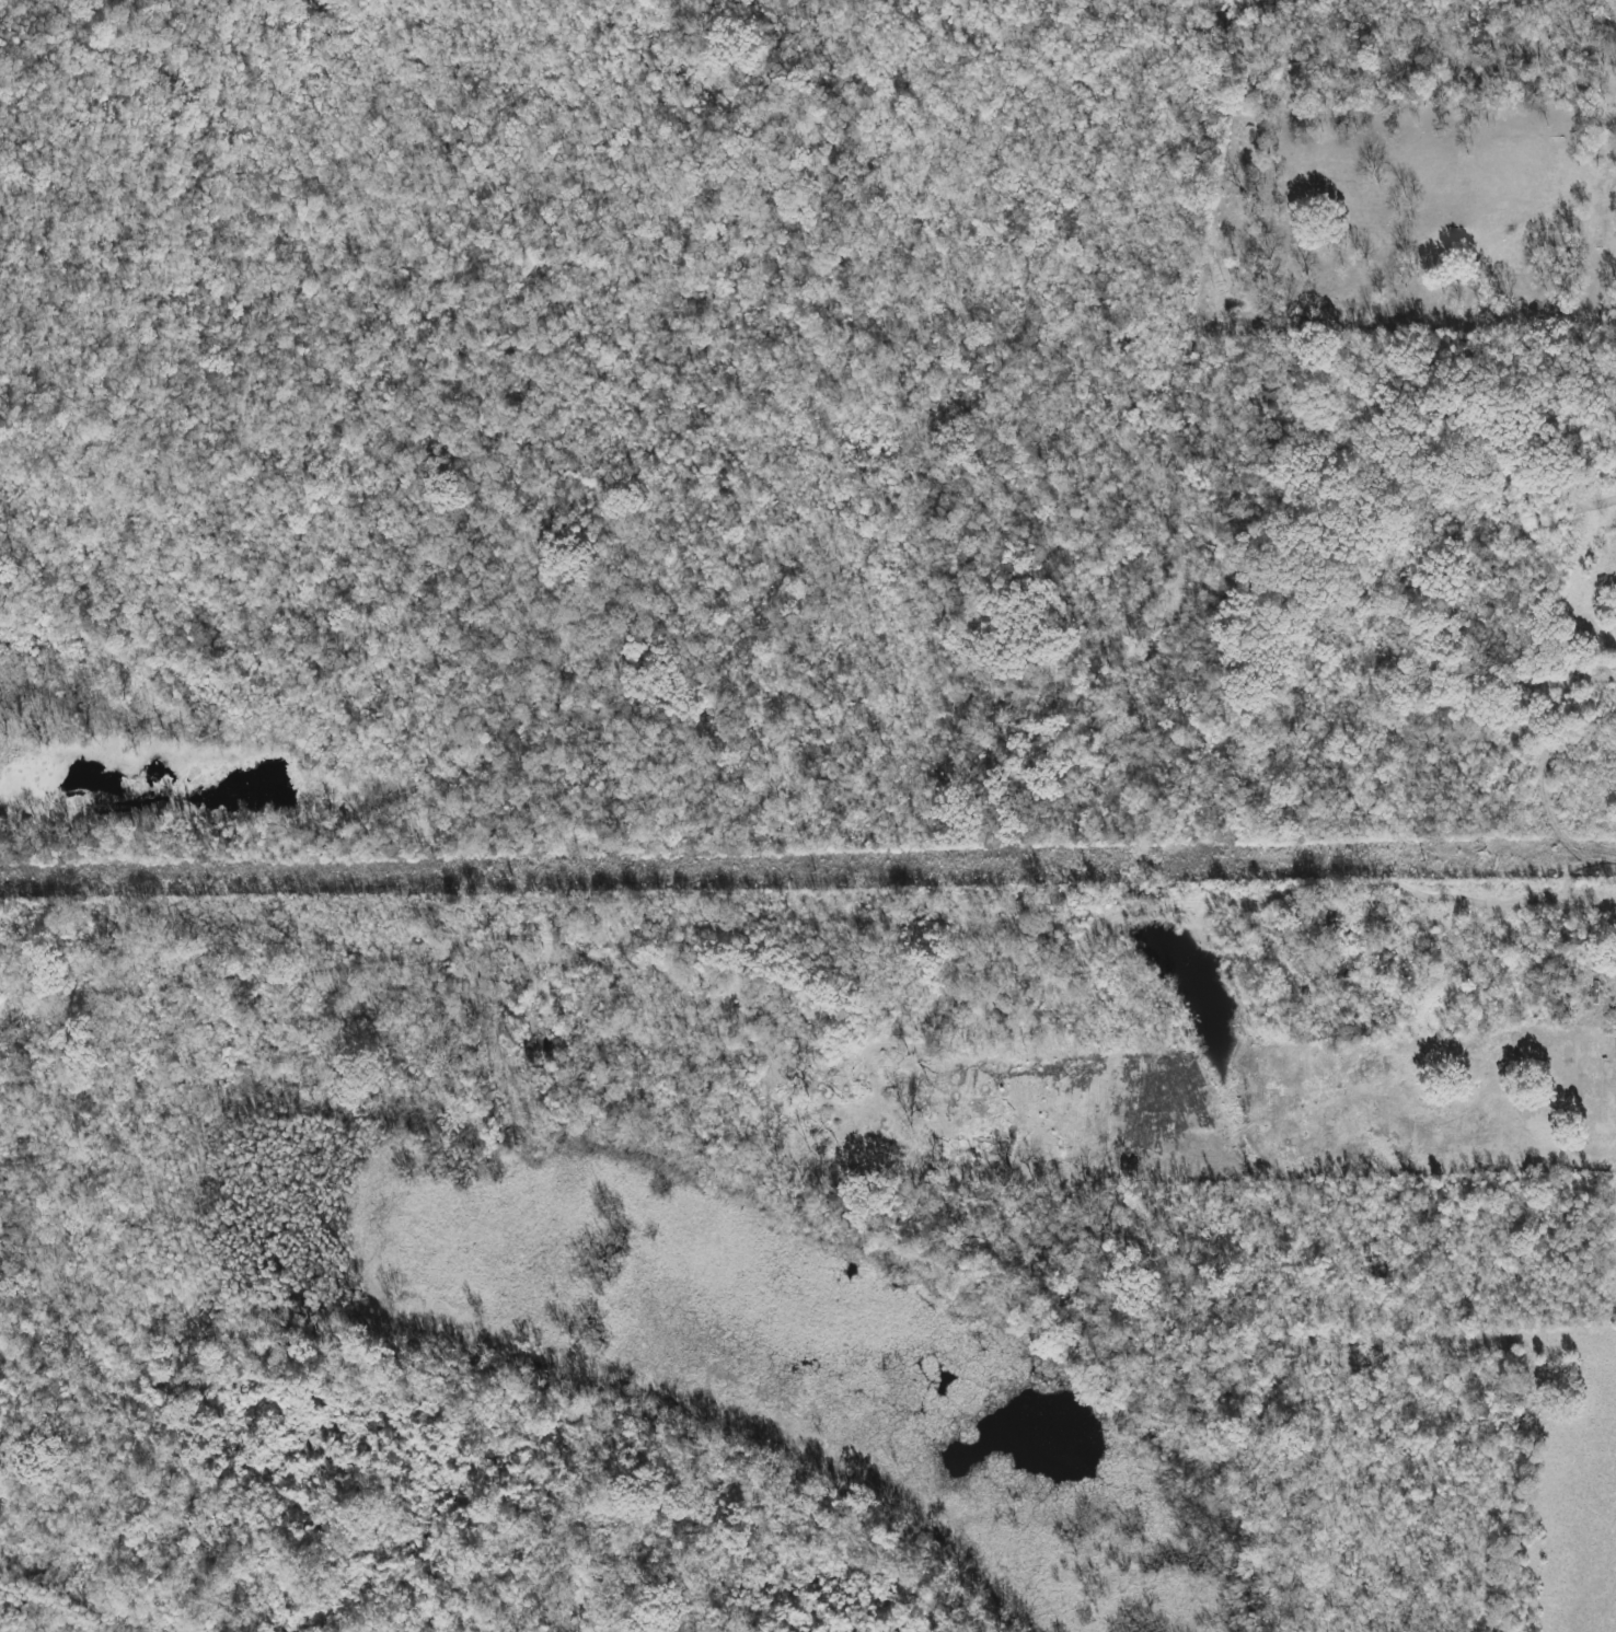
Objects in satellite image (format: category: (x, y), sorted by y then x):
road: (1433, 881)

